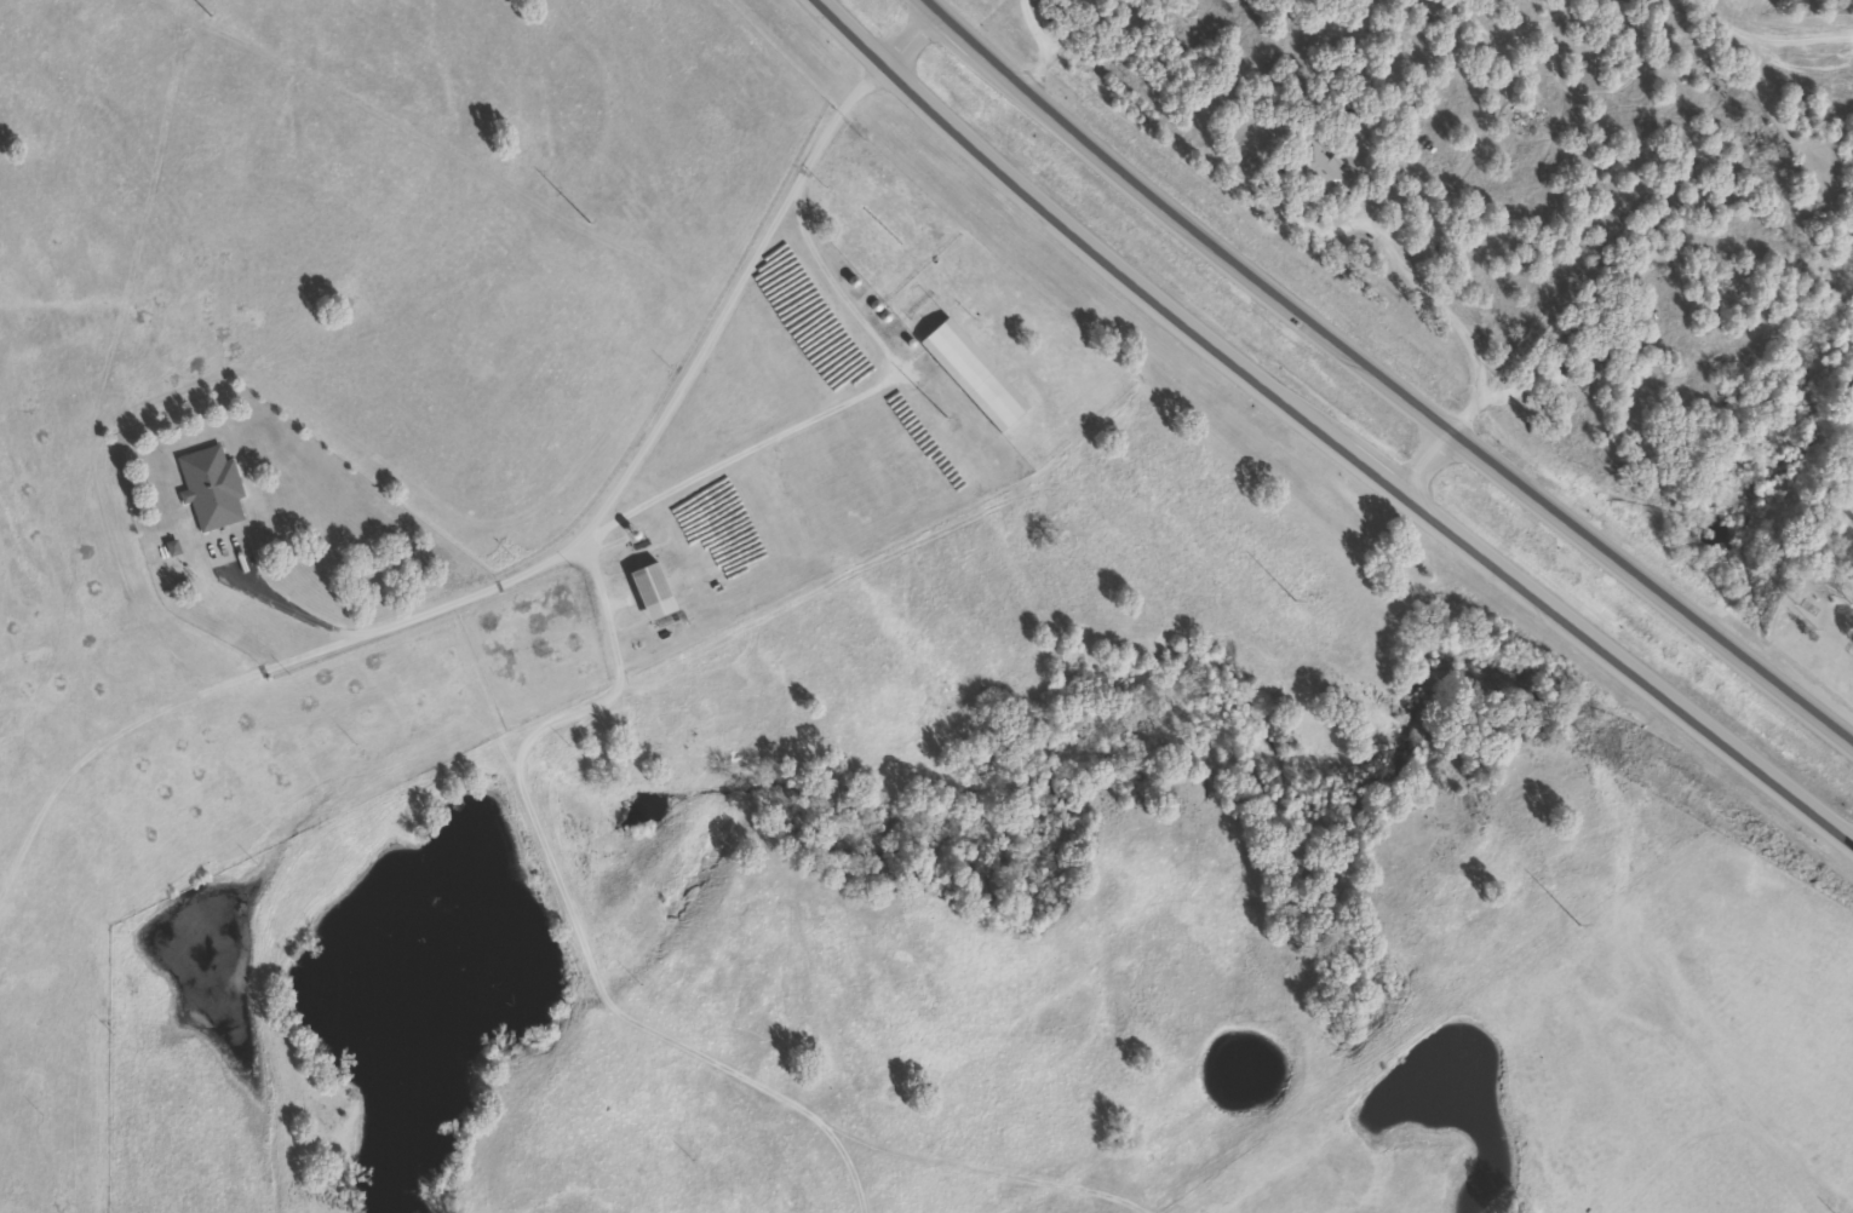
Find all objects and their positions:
road: (854, 33)
road: (912, 39)
building: (1323, 169)
building: (1555, 324)
building: (1597, 370)
building: (975, 373)
road: (1379, 379)
road: (1422, 459)
road: (1362, 460)
building: (211, 487)
road: (552, 556)
building: (654, 590)
road: (18, 711)

